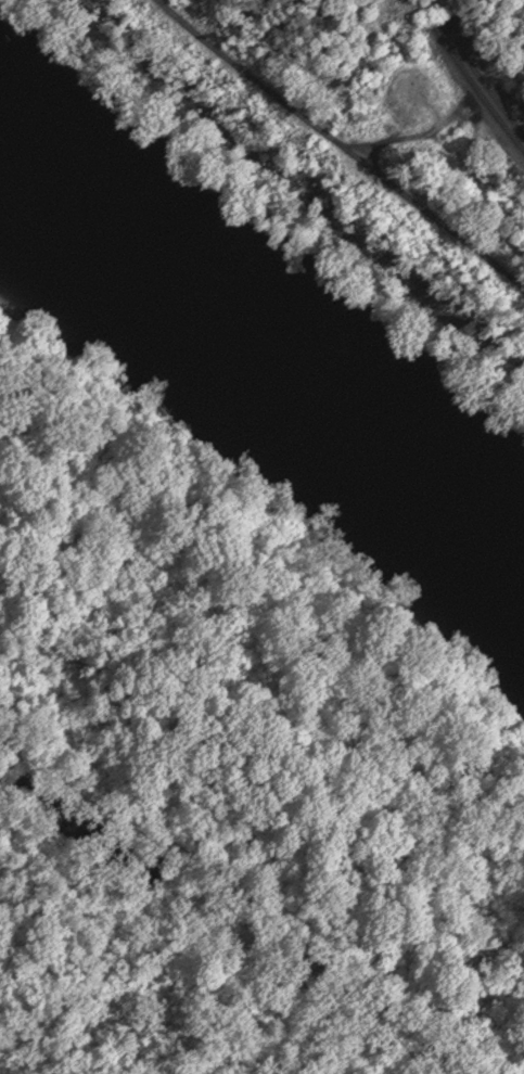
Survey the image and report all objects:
railway: (484, 82)
railway: (480, 93)
road: (340, 146)
river: (261, 353)
road: (254, 900)

